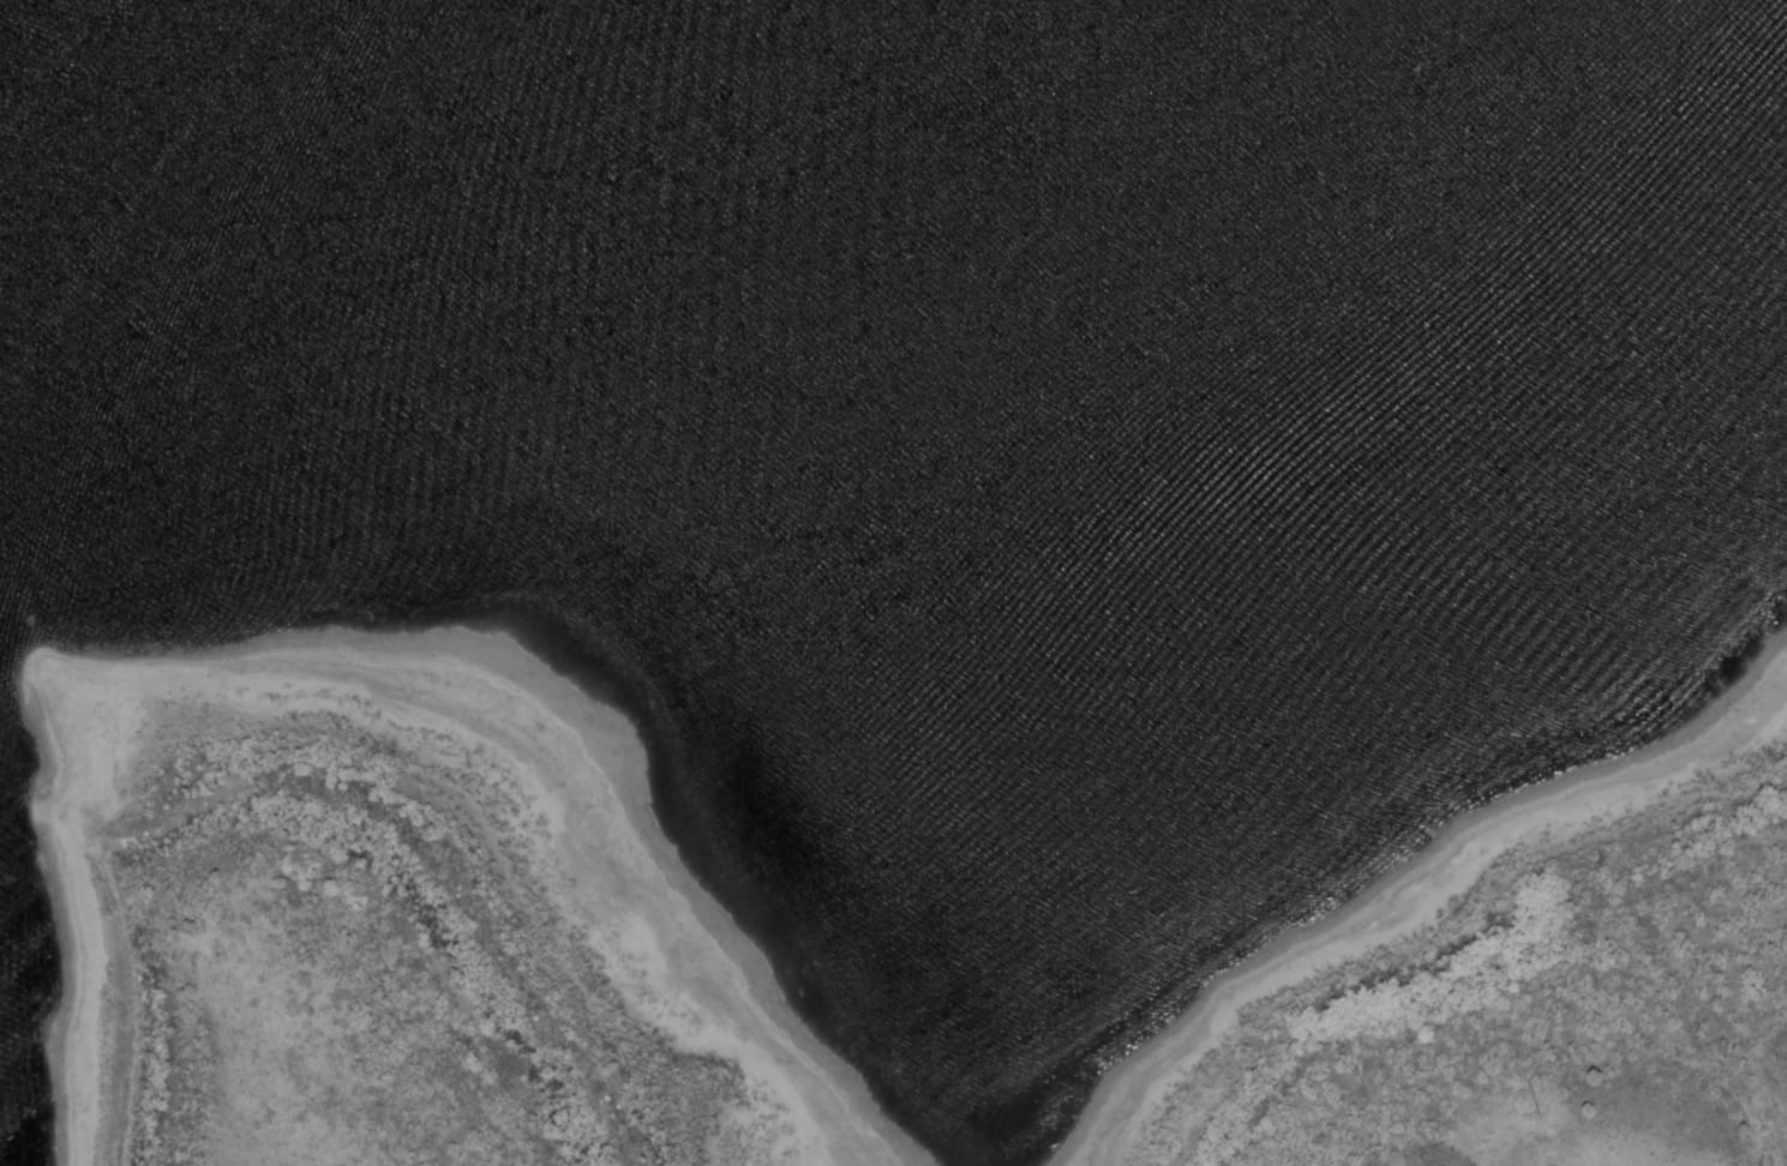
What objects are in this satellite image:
river: (179, 144)

